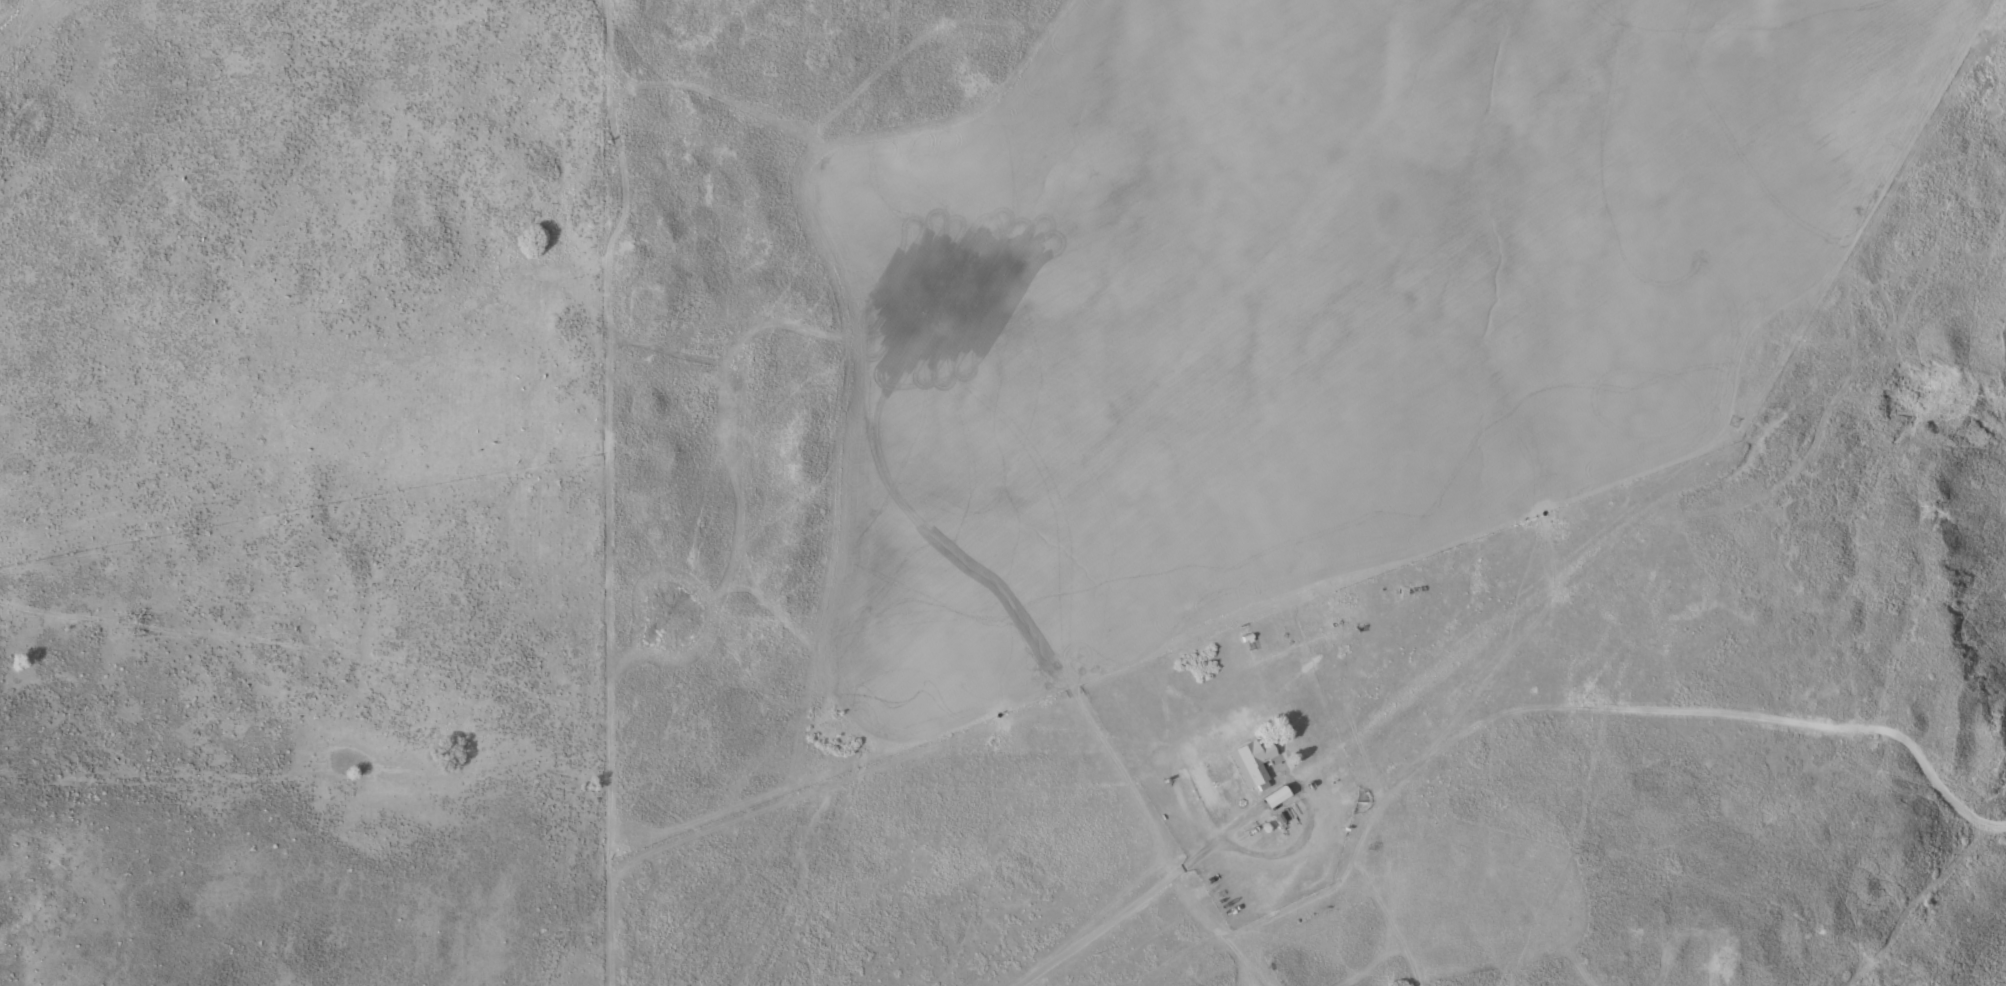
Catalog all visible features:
building: (1248, 760)
building: (1268, 798)

